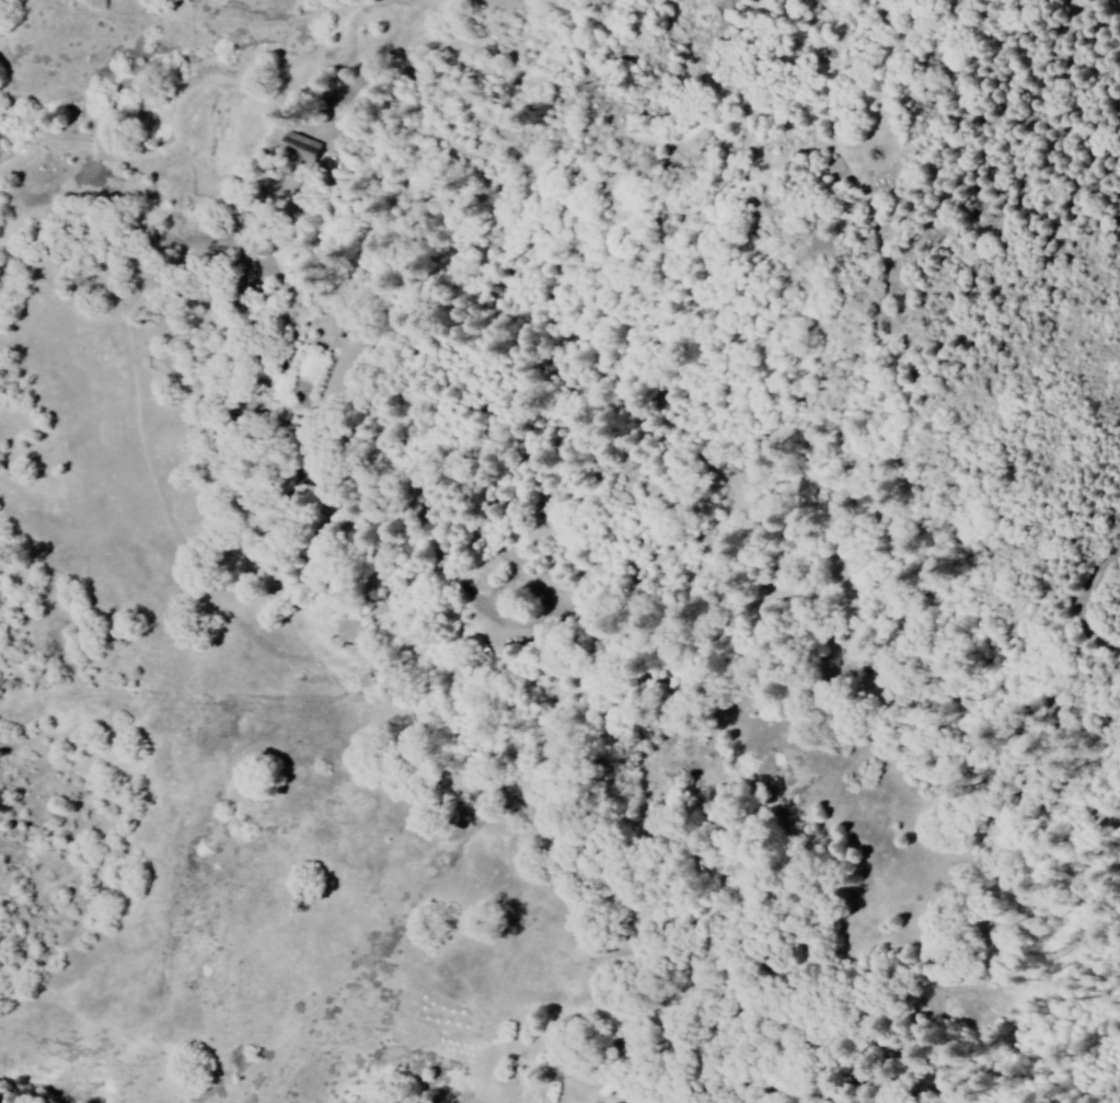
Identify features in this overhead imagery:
building: (298, 143)
road: (909, 654)

